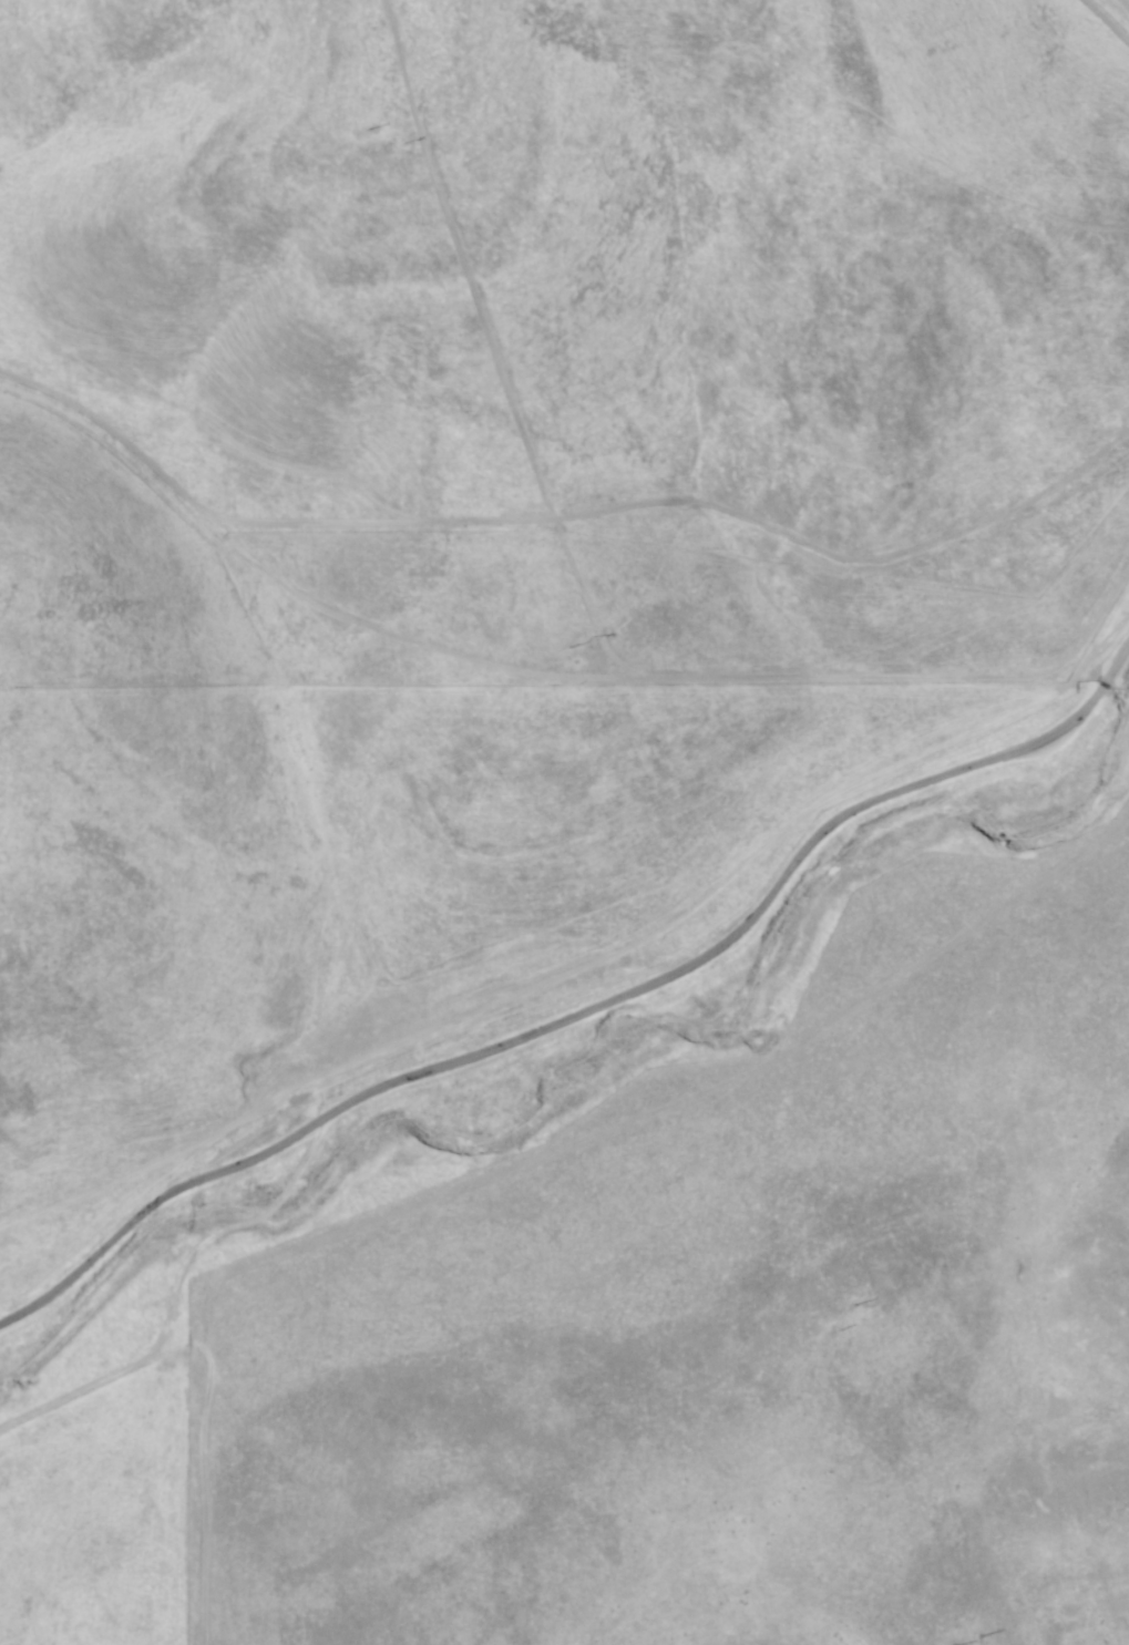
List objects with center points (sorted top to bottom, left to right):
road: (1077, 92)
road: (577, 1011)

